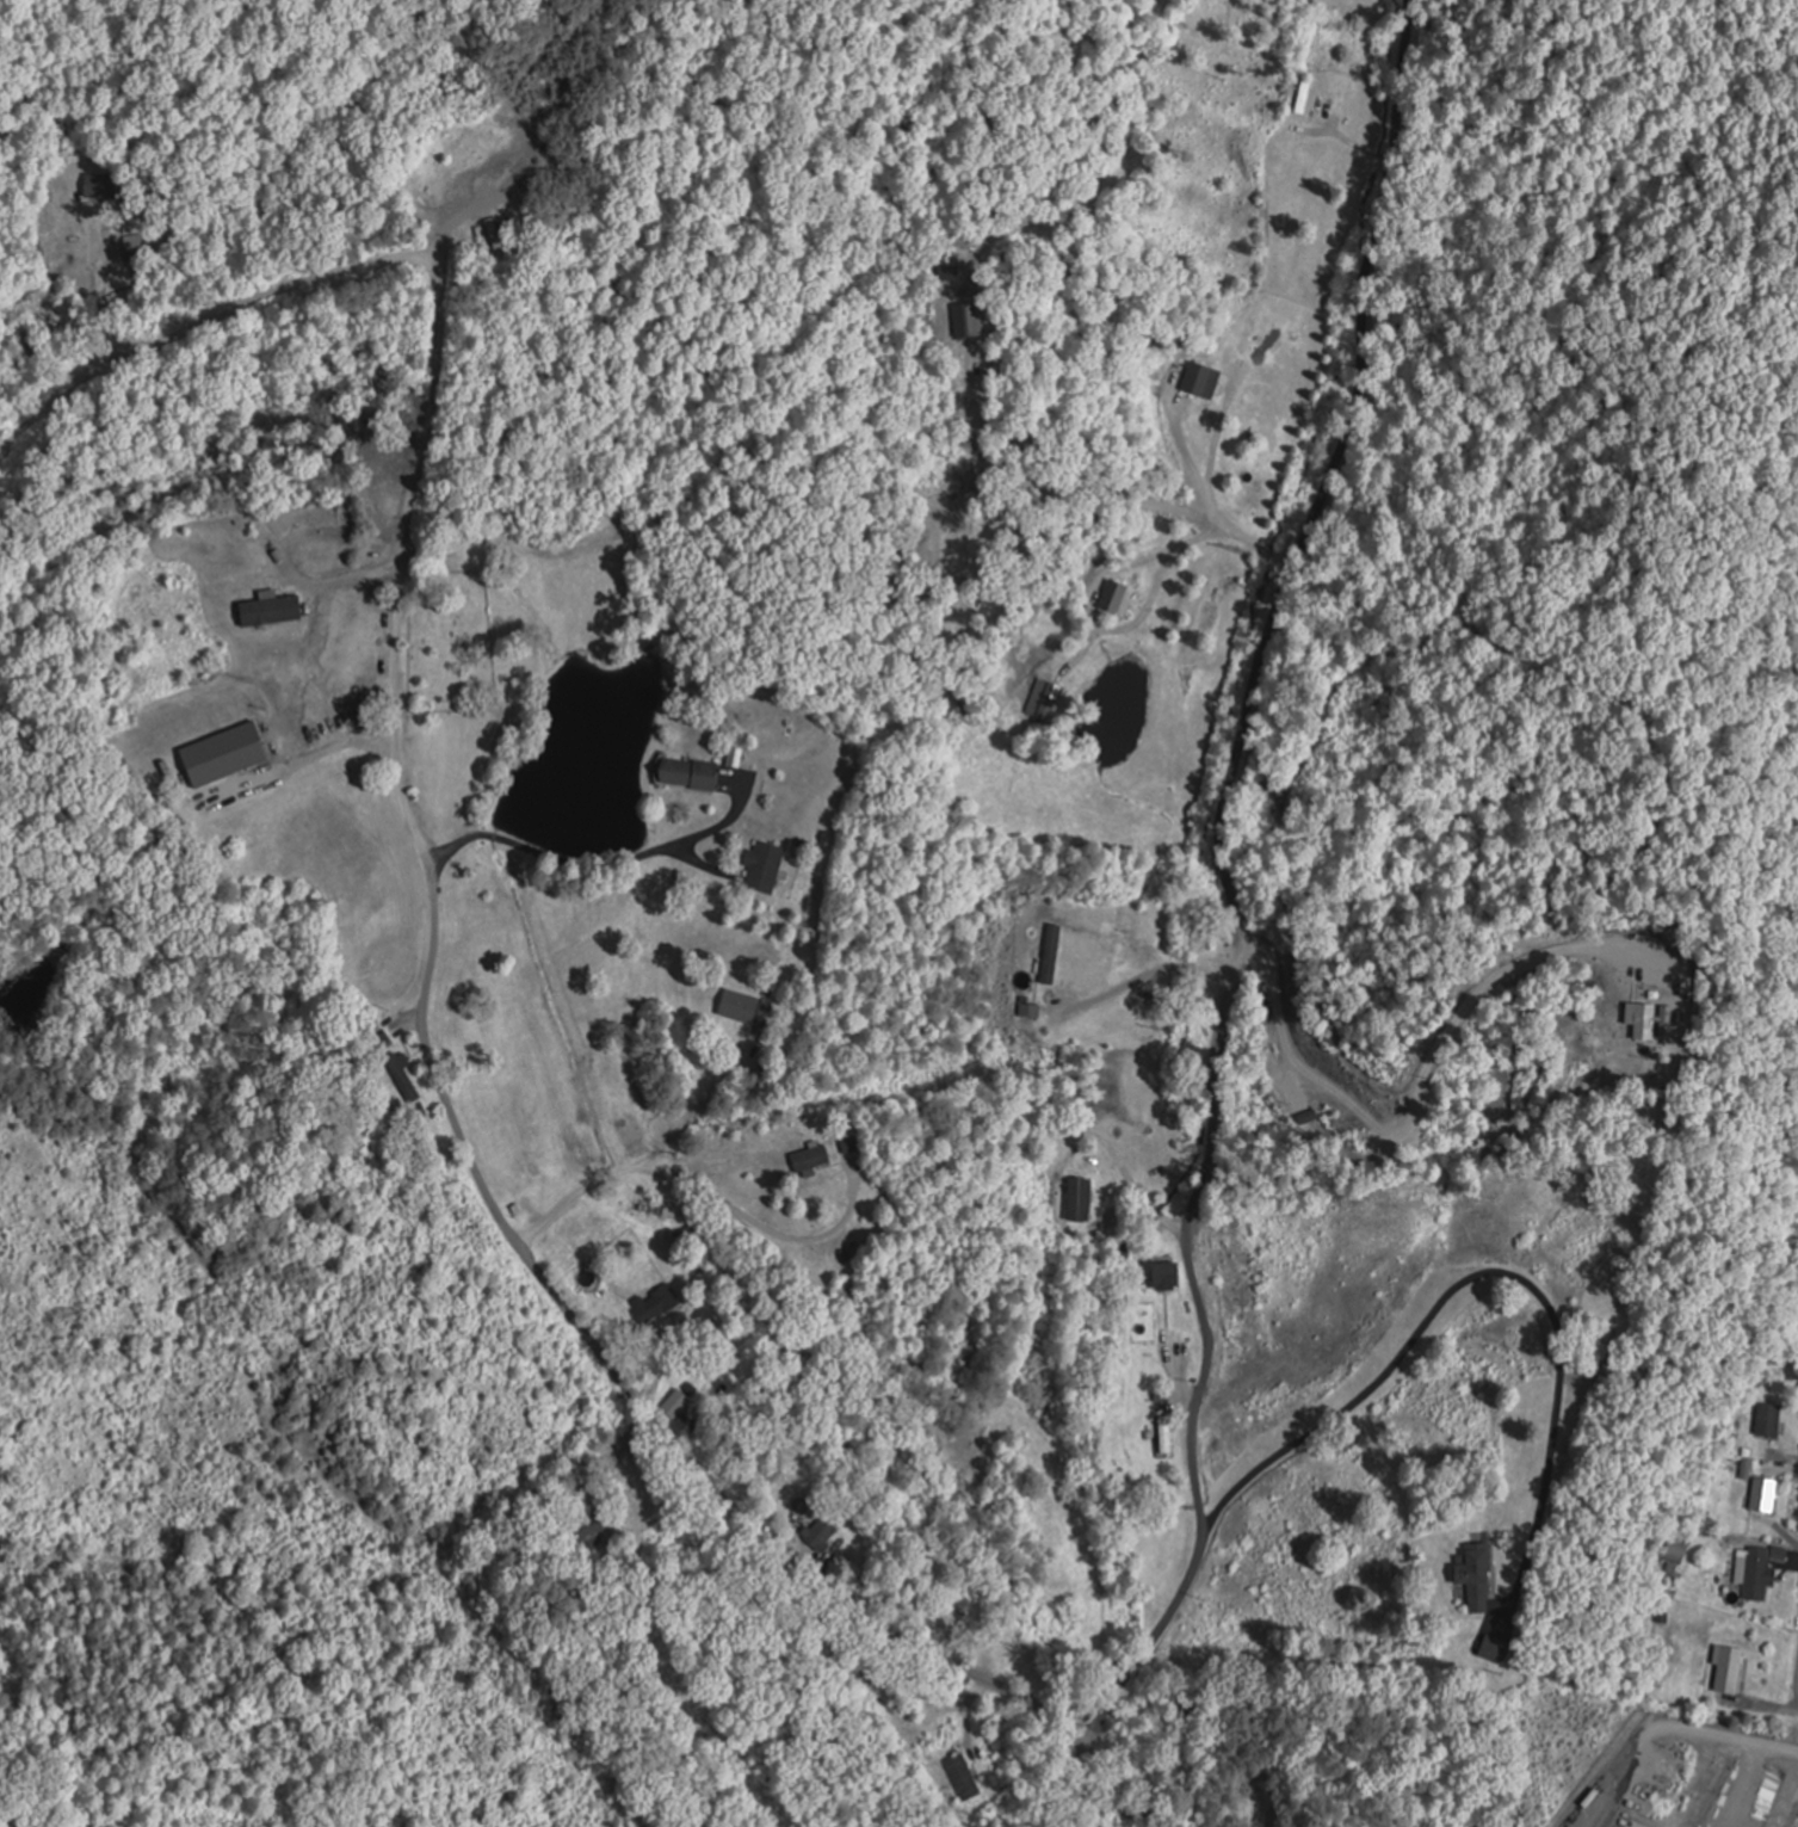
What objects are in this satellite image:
building: (1303, 93)
building: (1199, 378)
building: (1113, 597)
building: (268, 609)
park: (451, 641)
building: (1043, 699)
building: (222, 753)
building: (686, 772)
building: (761, 866)
road: (1236, 924)
building: (1049, 953)
road: (431, 965)
building: (737, 1005)
building: (381, 1042)
building: (402, 1076)
building: (808, 1158)
building: (1076, 1199)
building: (1162, 1276)
building: (654, 1302)
building: (1600, 1341)
building: (674, 1403)
building: (1766, 1420)
building: (1164, 1436)
building: (1760, 1495)
building: (585, 1530)
building: (821, 1533)
building: (1674, 1550)
building: (1754, 1574)
building: (1471, 1578)
building: (1484, 1648)
building: (1725, 1669)
building: (962, 1777)

